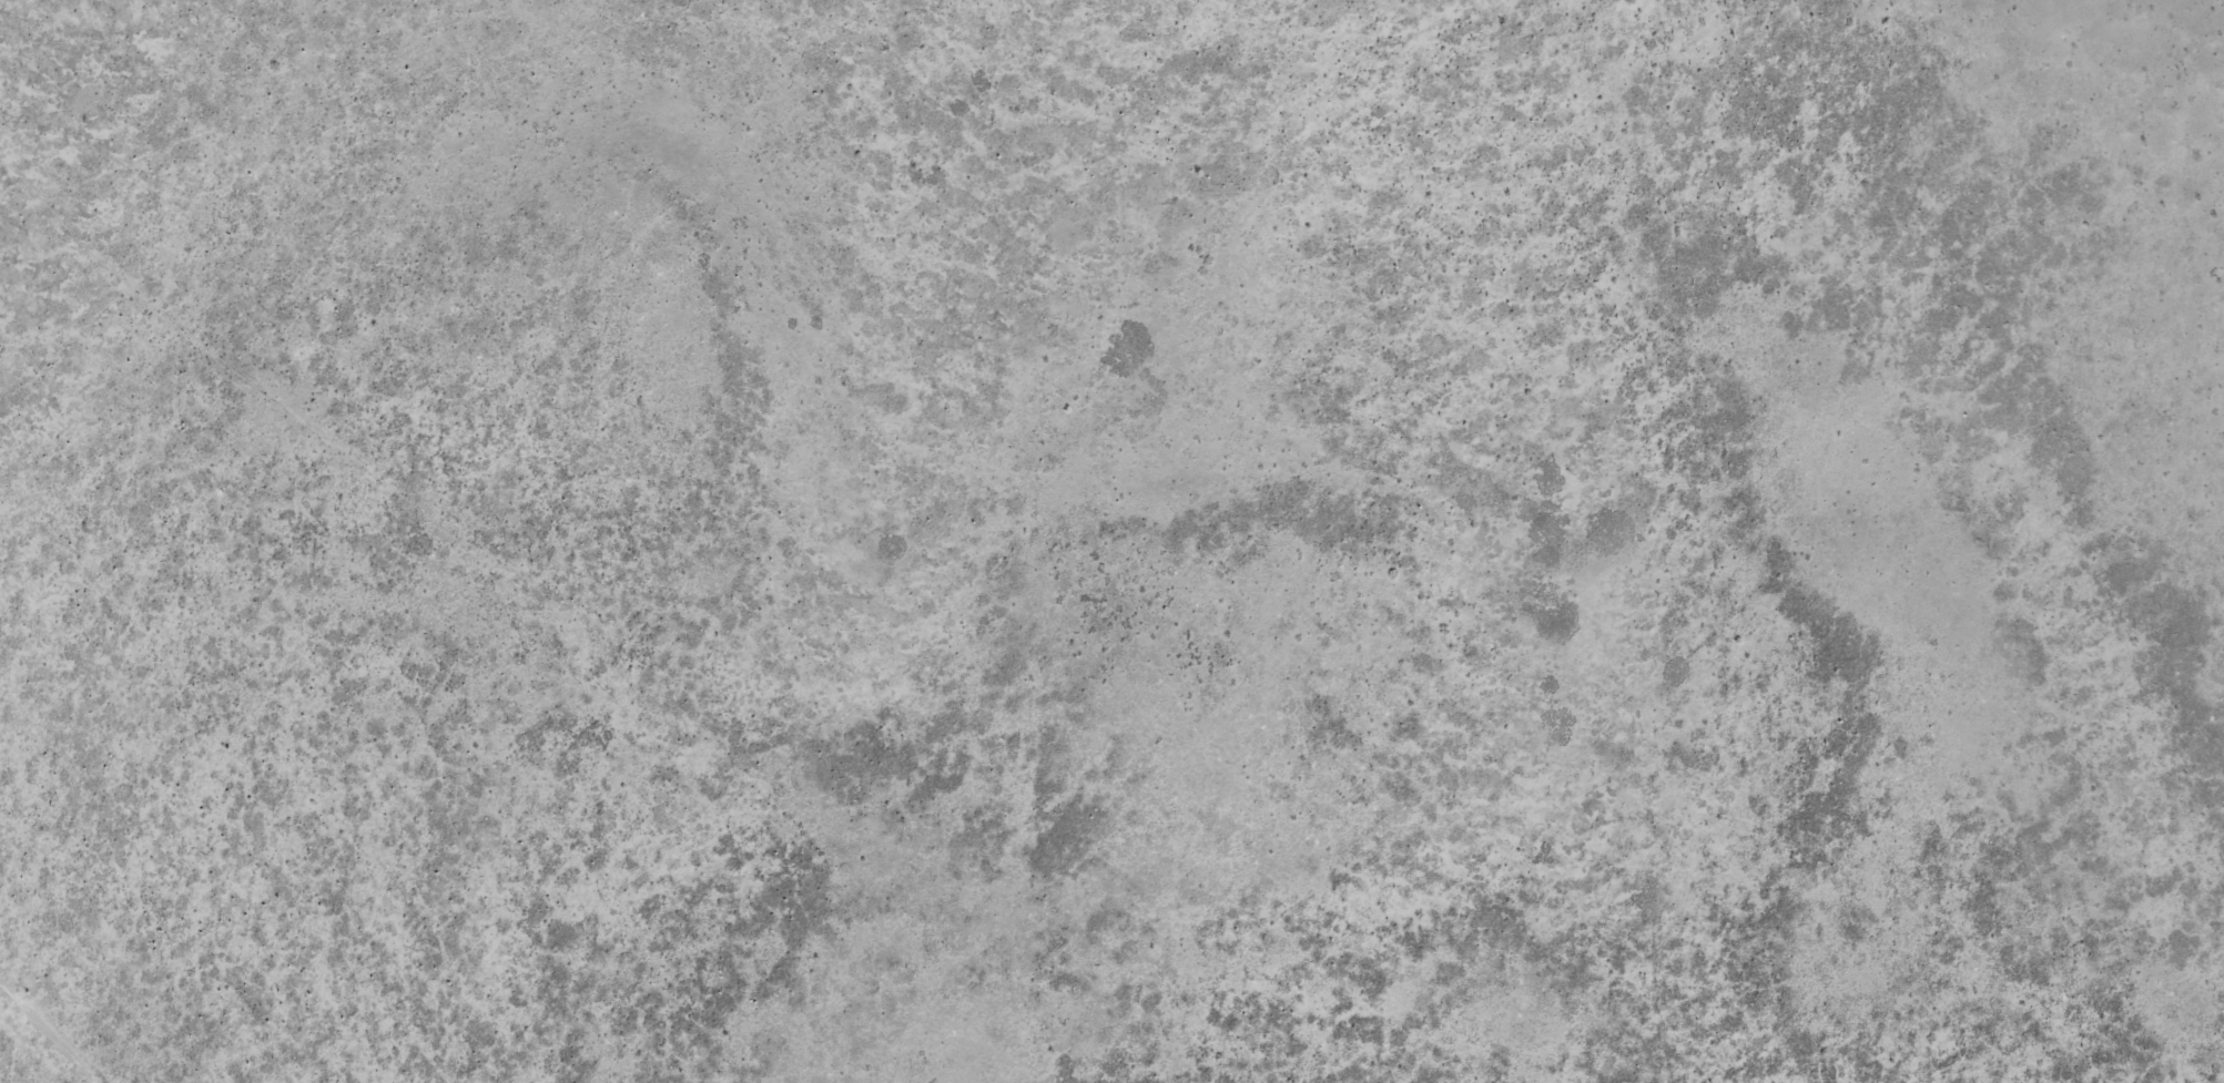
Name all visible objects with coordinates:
road: (22, 1059)

